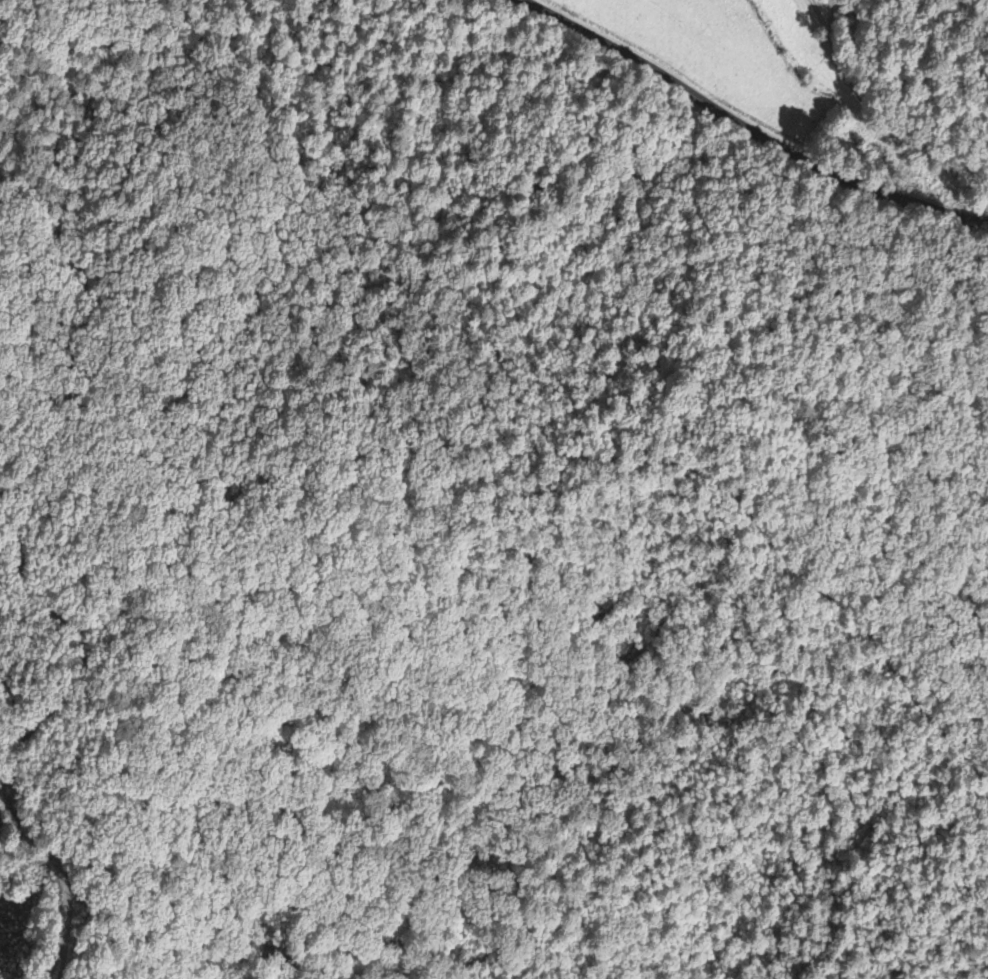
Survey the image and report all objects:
road: (833, 18)
road: (747, 129)
road: (869, 133)
road: (40, 718)

